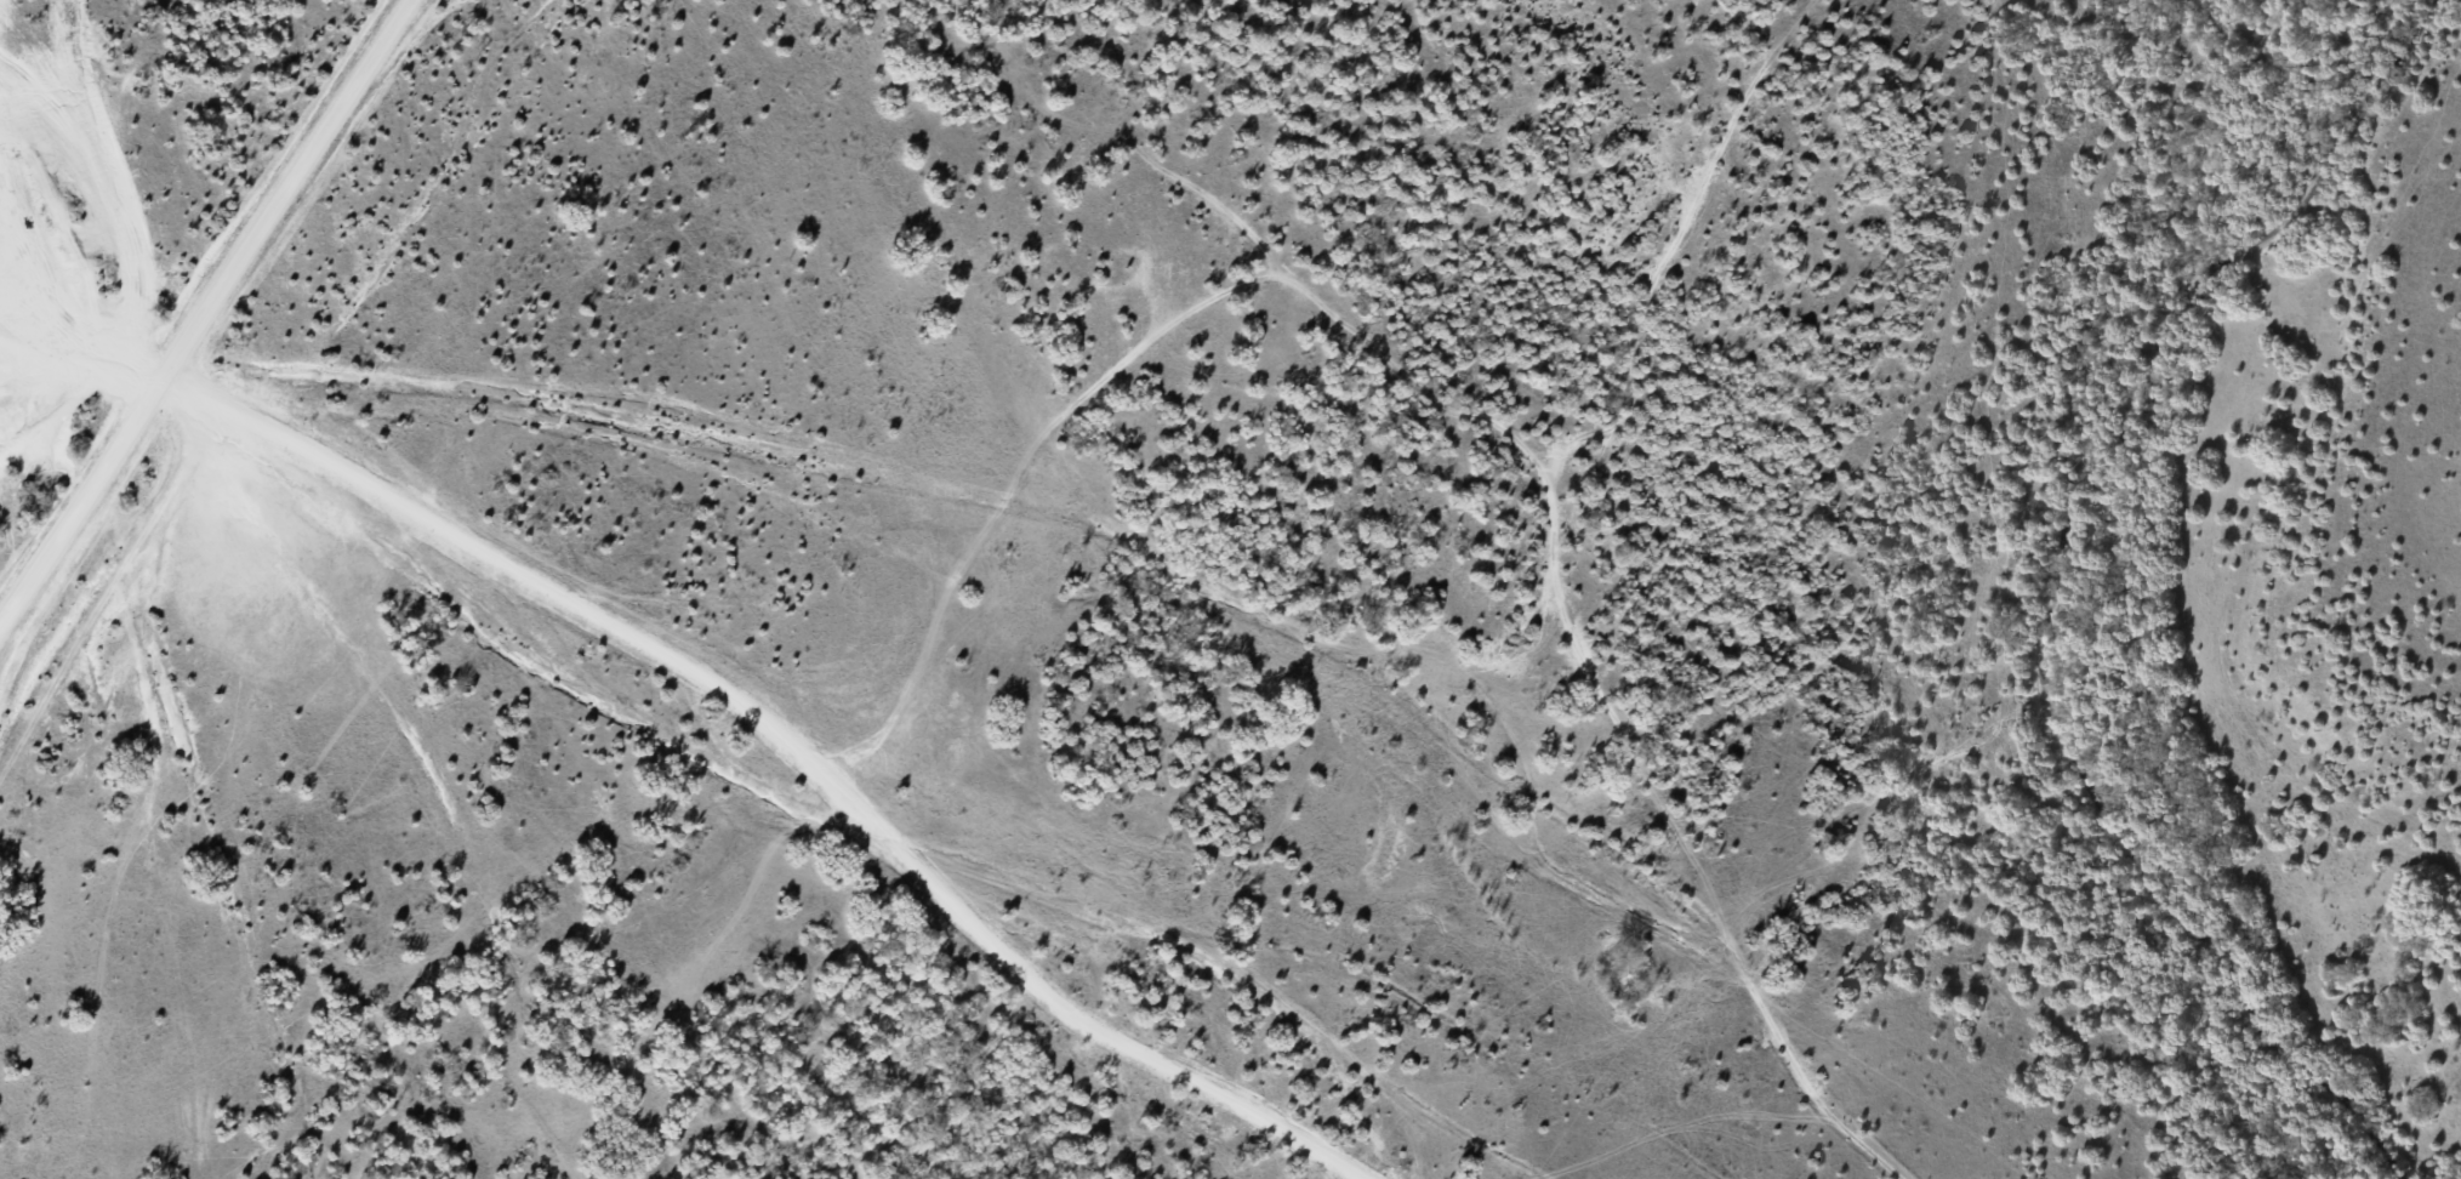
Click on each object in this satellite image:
road: (204, 307)

